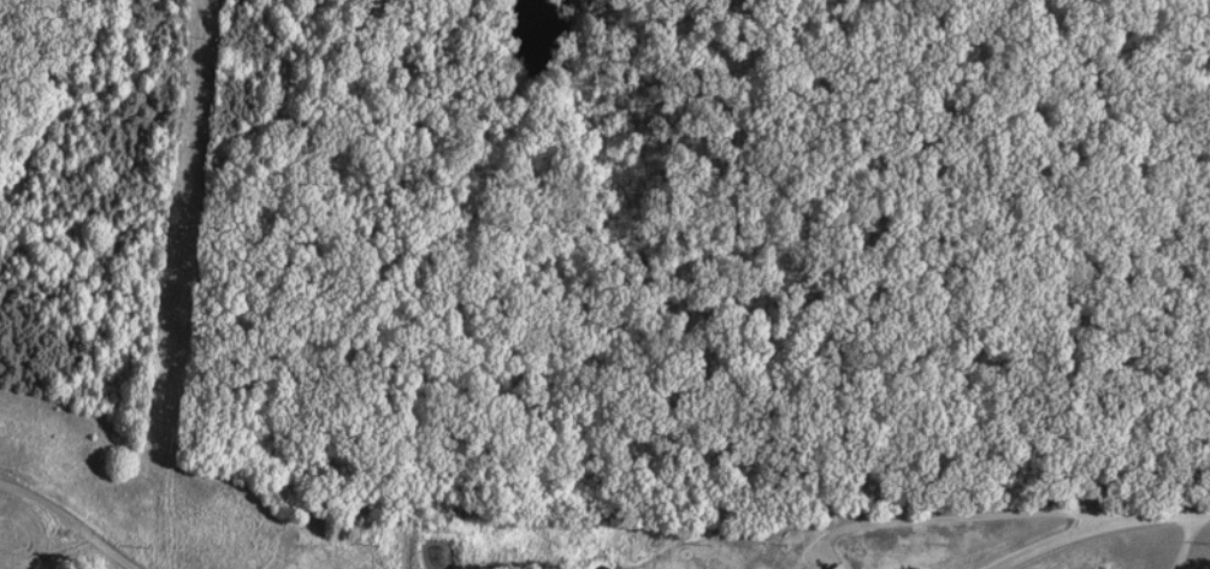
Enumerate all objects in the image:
road: (957, 517)
road: (69, 521)
road: (1098, 522)
road: (1181, 543)

